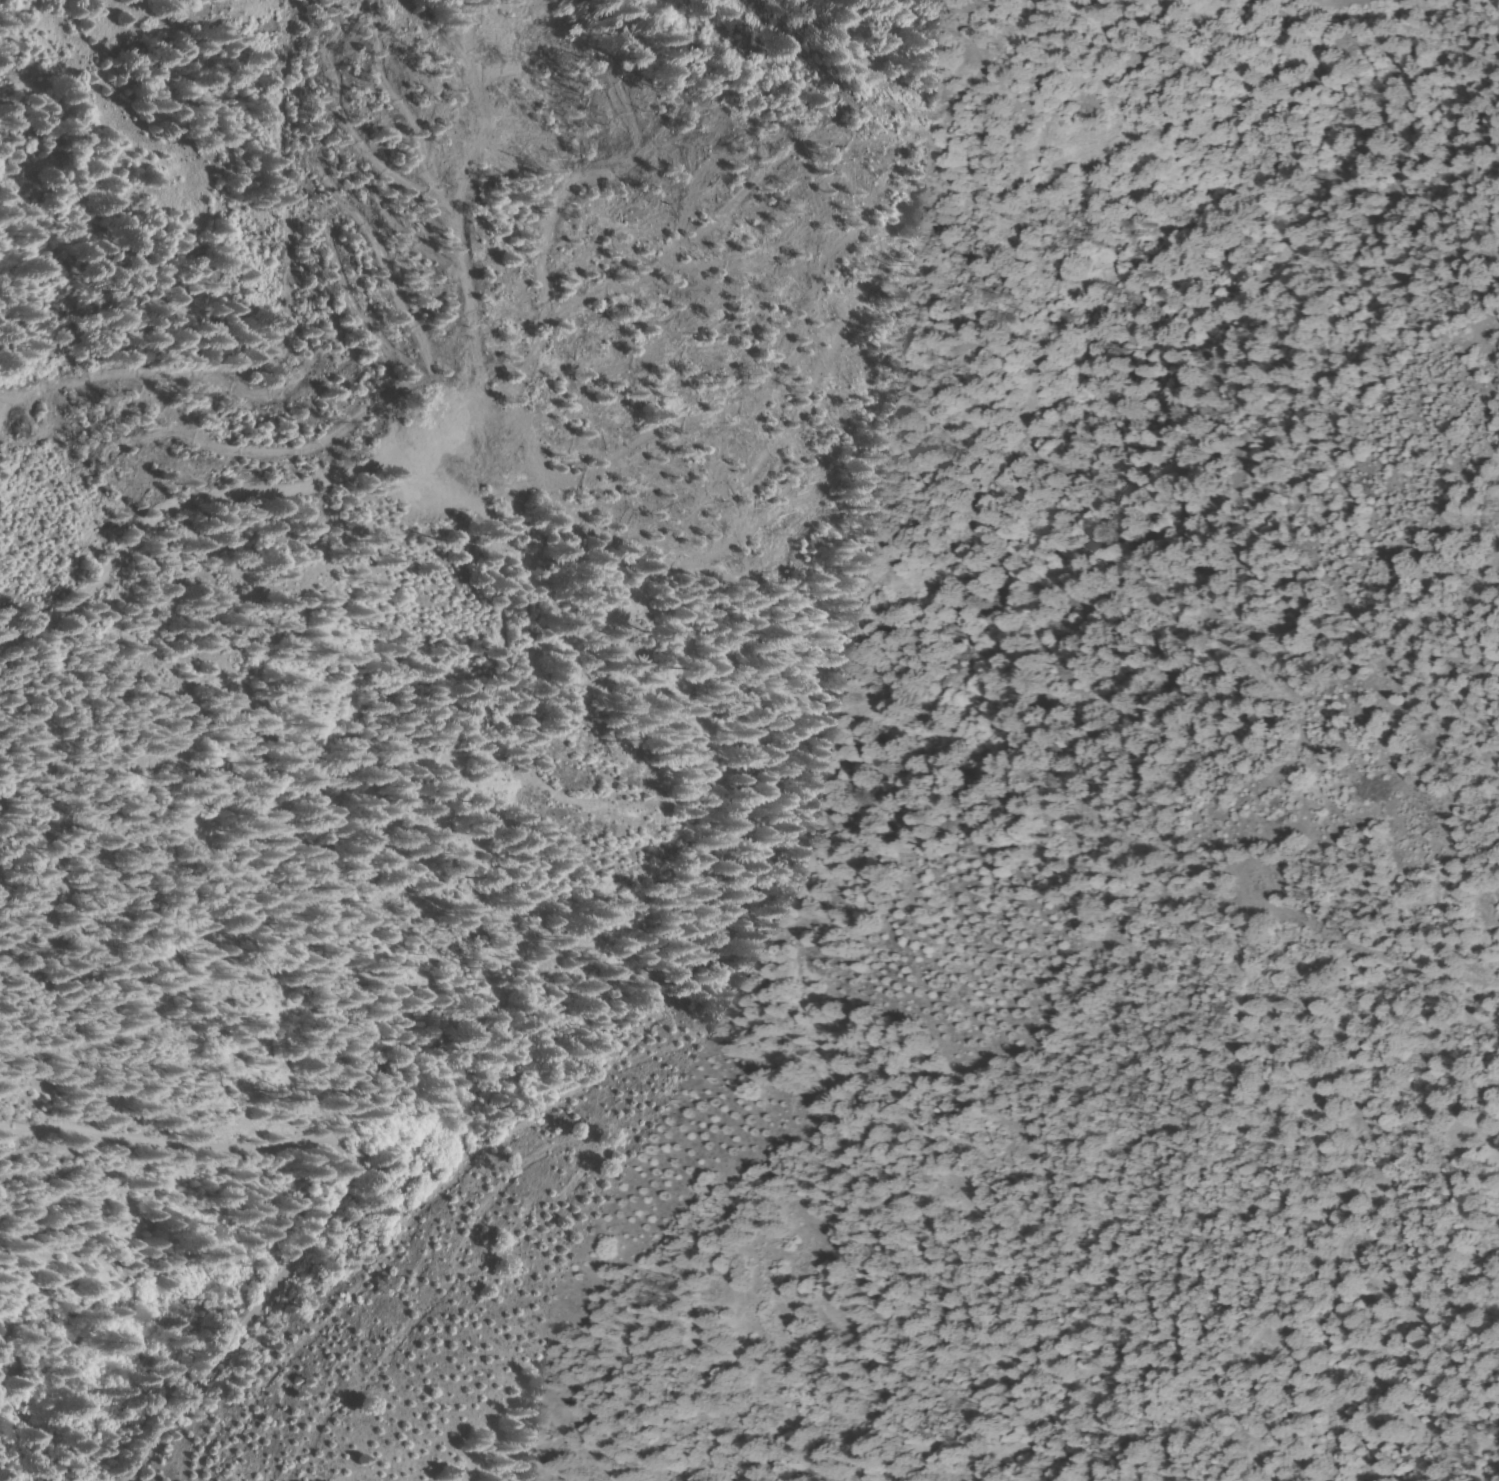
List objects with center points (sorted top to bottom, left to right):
road: (460, 492)
road: (1298, 548)
road: (337, 1190)

